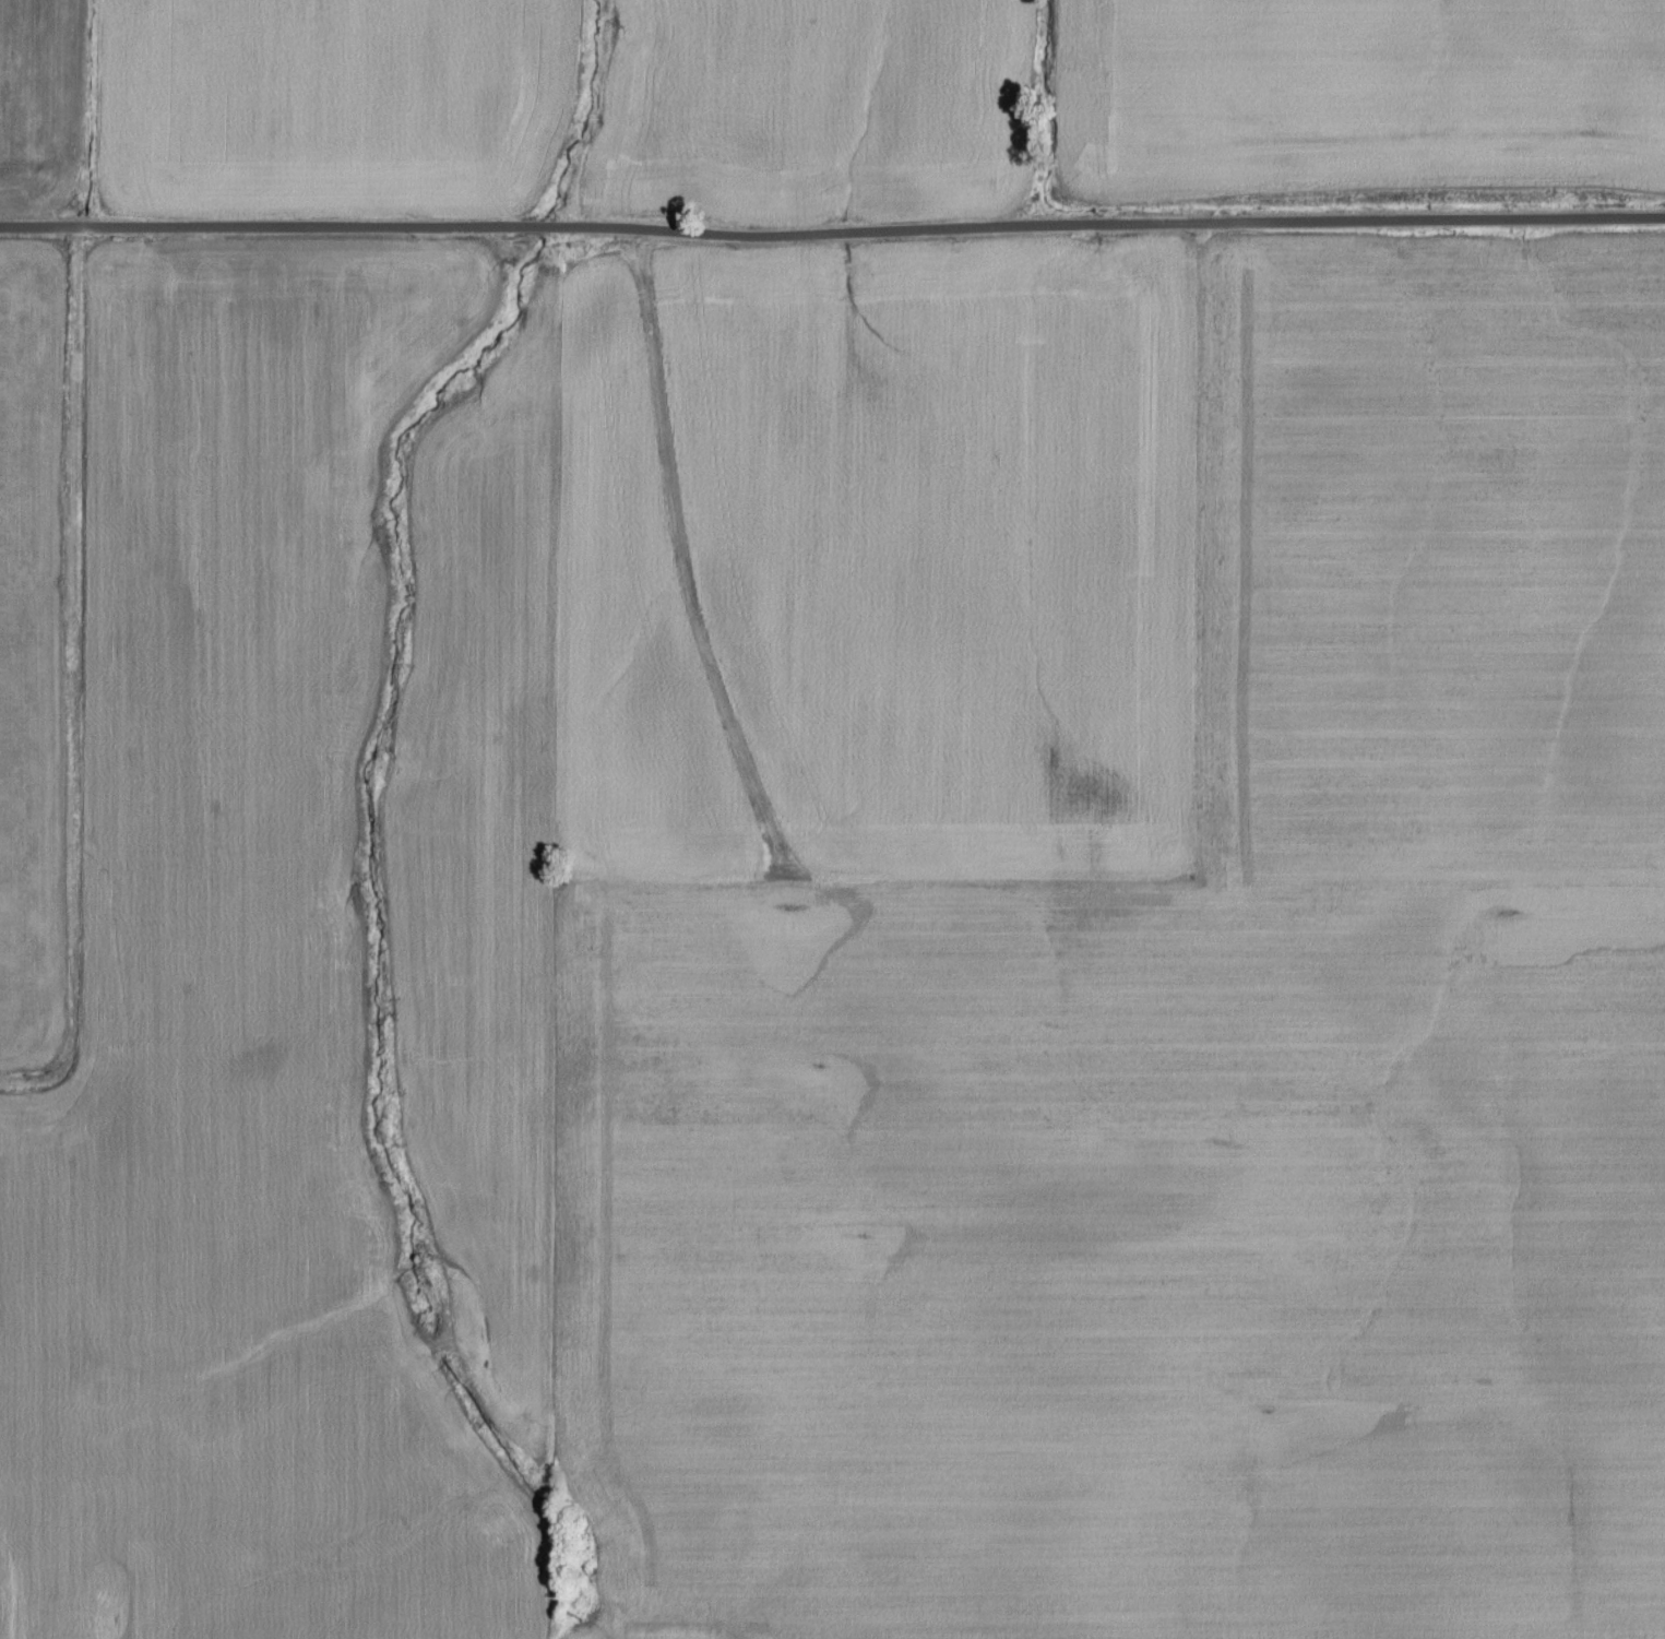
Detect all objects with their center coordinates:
road: (832, 231)
road: (67, 677)

